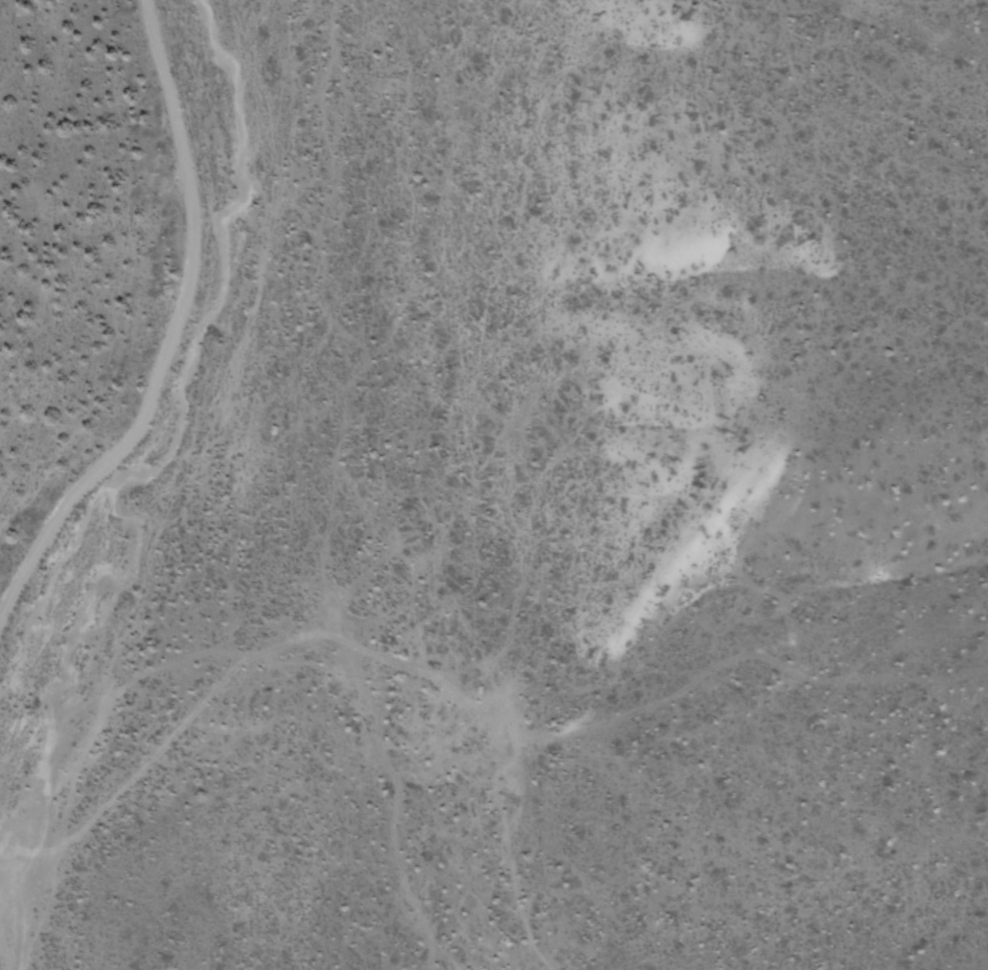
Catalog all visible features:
road: (143, 362)

